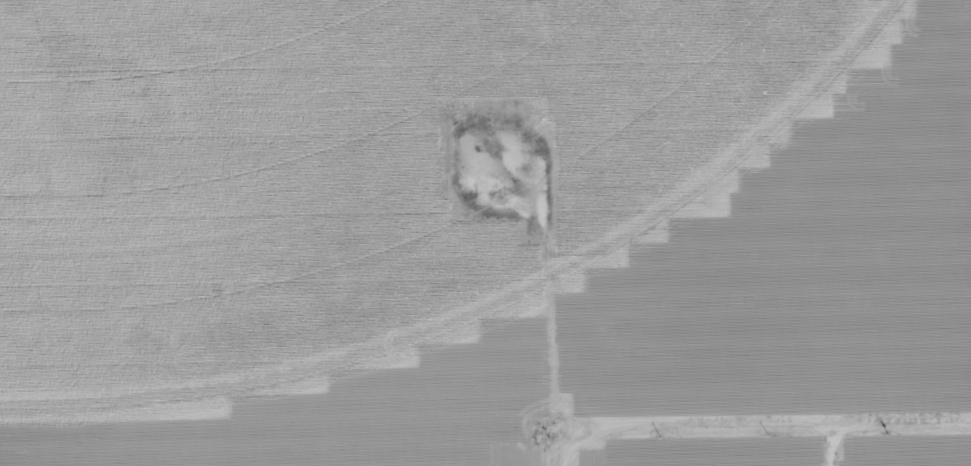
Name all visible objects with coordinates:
road: (548, 344)
road: (758, 399)

